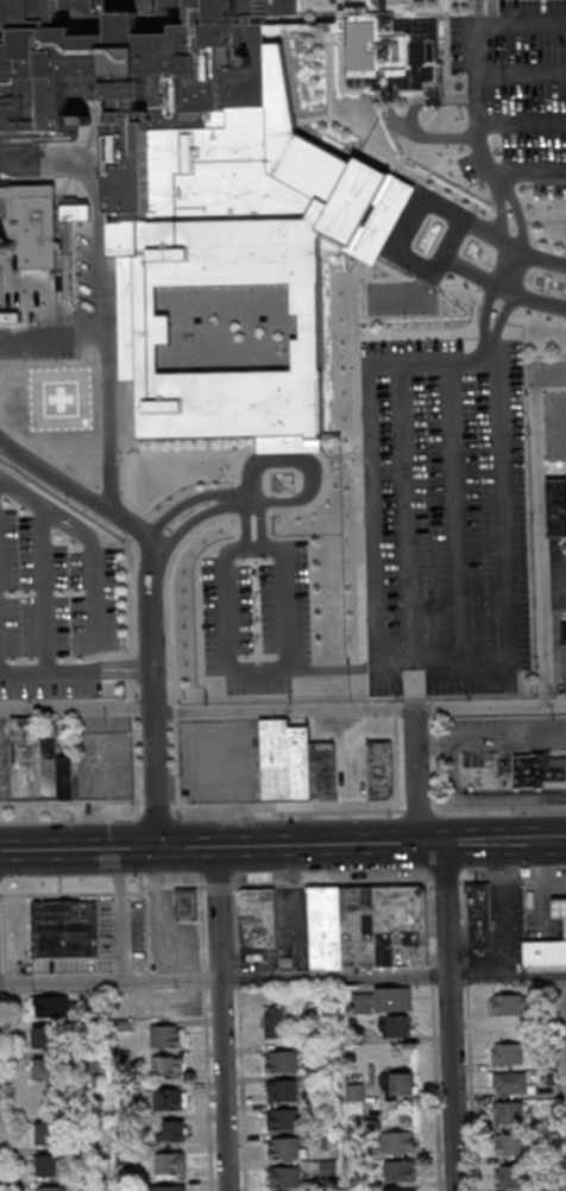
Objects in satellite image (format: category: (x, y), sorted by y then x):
road: (482, 25)
road: (518, 74)
road: (472, 90)
parking lot: (512, 94)
road: (434, 100)
road: (459, 100)
road: (520, 124)
road: (422, 137)
road: (493, 179)
building: (216, 193)
road: (445, 210)
building: (37, 223)
road: (445, 246)
building: (1, 252)
road: (507, 269)
road: (493, 285)
road: (403, 290)
parking lot: (400, 297)
road: (559, 307)
road: (51, 334)
road: (103, 359)
road: (486, 360)
road: (454, 364)
road: (548, 374)
helipad: (61, 401)
road: (303, 462)
road: (235, 477)
road: (240, 498)
road: (250, 498)
road: (303, 506)
building: (554, 509)
road: (403, 513)
parking lot: (442, 515)
road: (452, 516)
road: (132, 525)
road: (235, 525)
road: (109, 536)
road: (155, 537)
road: (537, 541)
road: (88, 542)
road: (237, 542)
road: (269, 542)
parking lot: (558, 574)
road: (169, 590)
road: (42, 591)
parking lot: (51, 599)
parking lot: (253, 616)
building: (561, 636)
road: (127, 664)
road: (131, 669)
road: (266, 669)
road: (44, 673)
road: (131, 687)
road: (149, 697)
road: (132, 706)
road: (174, 707)
road: (282, 711)
road: (489, 741)
building: (240, 750)
building: (25, 758)
road: (134, 758)
road: (176, 758)
building: (288, 762)
building: (49, 763)
building: (384, 769)
building: (543, 769)
building: (328, 771)
building: (67, 777)
road: (413, 777)
road: (482, 798)
road: (276, 811)
road: (556, 843)
road: (273, 847)
traffic signals: (157, 849)
road: (512, 881)
road: (4, 896)
building: (185, 903)
building: (560, 907)
building: (479, 915)
building: (257, 919)
building: (366, 924)
building: (64, 927)
road: (8, 941)
building: (546, 952)
road: (282, 976)
building: (392, 998)
building: (161, 1003)
building: (510, 1003)
building: (50, 1007)
road: (220, 1019)
road: (452, 1019)
building: (273, 1023)
building: (396, 1026)
building: (166, 1035)
building: (48, 1036)
building: (507, 1053)
building: (282, 1061)
building: (166, 1066)
building: (49, 1067)
building: (510, 1080)
building: (398, 1084)
building: (282, 1090)
building: (170, 1098)
building: (46, 1103)
building: (508, 1111)
building: (283, 1118)
building: (174, 1129)
building: (51, 1133)
building: (398, 1142)
building: (284, 1147)
building: (510, 1147)
building: (170, 1162)
building: (52, 1164)
building: (398, 1172)
building: (284, 1176)
building: (511, 1178)
building: (170, 1187)
building: (52, 1189)
building: (398, 1190)

